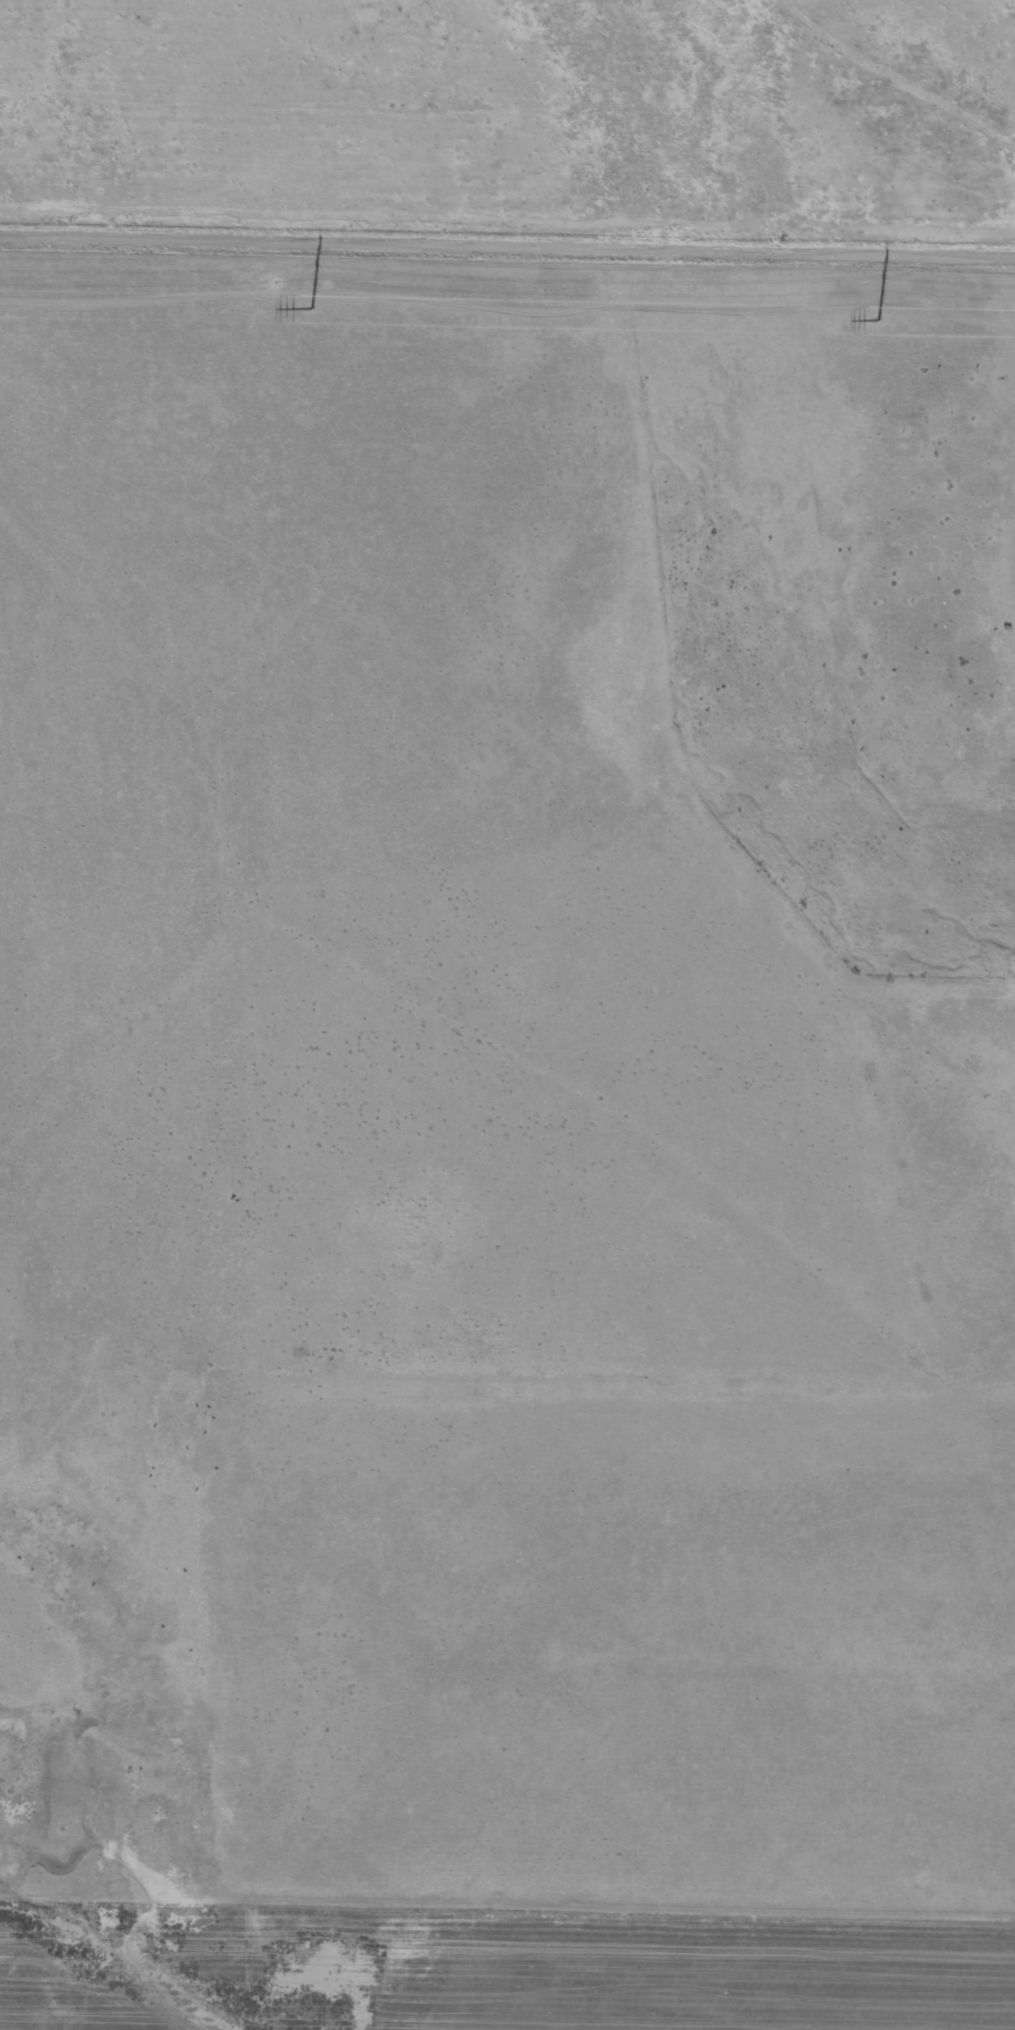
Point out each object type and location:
road: (507, 243)
power tower: (312, 307)
power tower: (878, 319)

